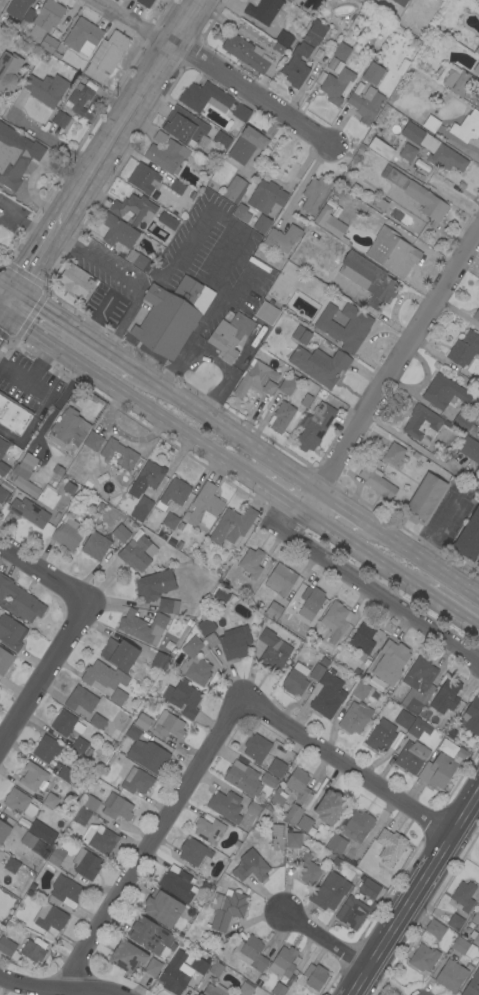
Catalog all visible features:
building: (475, 1)
building: (400, 2)
building: (145, 3)
building: (17, 8)
building: (264, 10)
building: (46, 18)
building: (25, 20)
road: (133, 23)
building: (82, 36)
building: (284, 38)
building: (48, 44)
building: (342, 51)
building: (477, 51)
building: (244, 53)
building: (303, 54)
building: (106, 56)
building: (476, 68)
building: (9, 71)
building: (373, 73)
building: (457, 81)
building: (336, 85)
building: (46, 88)
road: (256, 95)
building: (205, 97)
building: (78, 100)
building: (366, 104)
road: (133, 107)
building: (478, 108)
building: (241, 111)
building: (60, 119)
building: (431, 124)
building: (467, 127)
building: (186, 128)
building: (159, 137)
building: (222, 139)
road: (49, 140)
building: (247, 145)
building: (379, 148)
building: (434, 148)
building: (408, 152)
building: (167, 155)
building: (14, 161)
building: (144, 178)
building: (177, 187)
building: (233, 188)
building: (315, 194)
building: (269, 195)
building: (417, 195)
building: (379, 204)
building: (133, 210)
building: (244, 213)
building: (166, 220)
road: (226, 224)
building: (262, 224)
building: (331, 224)
building: (118, 231)
building: (281, 239)
building: (393, 252)
road: (40, 253)
road: (182, 254)
building: (139, 260)
road: (99, 262)
road: (225, 265)
building: (368, 278)
building: (75, 280)
road: (8, 287)
road: (11, 302)
road: (2, 309)
building: (267, 313)
road: (2, 315)
building: (172, 315)
building: (476, 315)
road: (96, 317)
road: (126, 317)
road: (201, 329)
road: (76, 332)
building: (341, 333)
building: (230, 335)
building: (301, 335)
building: (464, 349)
road: (215, 359)
building: (320, 365)
road: (391, 370)
building: (256, 379)
building: (286, 386)
road: (131, 393)
building: (444, 393)
building: (305, 400)
building: (13, 415)
building: (280, 417)
building: (465, 420)
building: (423, 423)
building: (314, 426)
building: (68, 428)
road: (226, 431)
building: (93, 441)
road: (406, 442)
building: (2, 447)
building: (469, 449)
building: (118, 455)
building: (395, 455)
building: (76, 468)
building: (58, 469)
building: (3, 470)
building: (151, 474)
building: (25, 475)
building: (376, 481)
building: (69, 487)
building: (2, 494)
building: (173, 494)
road: (280, 494)
building: (425, 497)
road: (341, 506)
building: (141, 508)
building: (204, 508)
building: (28, 510)
building: (170, 520)
road: (442, 521)
building: (232, 525)
building: (121, 533)
building: (67, 534)
building: (469, 538)
building: (95, 545)
road: (363, 550)
building: (137, 553)
road: (423, 557)
building: (252, 562)
building: (478, 563)
road: (43, 569)
building: (280, 579)
building: (236, 582)
building: (154, 585)
road: (366, 587)
building: (221, 594)
building: (20, 600)
building: (311, 601)
building: (168, 606)
building: (273, 610)
road: (450, 610)
building: (336, 620)
building: (205, 625)
building: (143, 627)
building: (11, 633)
building: (363, 638)
building: (231, 643)
building: (272, 651)
road: (471, 652)
building: (119, 653)
building: (5, 661)
building: (160, 661)
building: (194, 662)
building: (391, 662)
road: (468, 666)
road: (43, 668)
building: (316, 671)
building: (295, 679)
building: (109, 681)
building: (418, 685)
building: (360, 690)
building: (326, 695)
building: (181, 697)
building: (446, 697)
building: (80, 699)
building: (79, 712)
building: (472, 716)
building: (355, 717)
building: (404, 719)
building: (97, 721)
building: (142, 721)
building: (66, 723)
building: (169, 725)
building: (418, 728)
building: (381, 735)
building: (79, 746)
building: (46, 748)
building: (256, 748)
building: (146, 752)
building: (412, 756)
road: (346, 766)
building: (276, 767)
building: (441, 769)
building: (67, 775)
building: (242, 777)
building: (33, 778)
building: (268, 780)
building: (136, 781)
building: (298, 783)
building: (51, 801)
building: (278, 801)
building: (19, 803)
building: (90, 803)
building: (226, 805)
building: (117, 807)
building: (330, 807)
building: (253, 808)
building: (293, 814)
building: (81, 816)
building: (306, 824)
building: (209, 830)
building: (276, 830)
building: (3, 831)
building: (41, 831)
building: (351, 832)
building: (100, 838)
building: (28, 840)
building: (293, 840)
road: (151, 842)
road: (464, 844)
building: (390, 846)
building: (193, 851)
building: (56, 857)
building: (86, 864)
building: (16, 866)
building: (250, 867)
building: (308, 869)
building: (177, 884)
building: (368, 887)
building: (329, 891)
road: (413, 891)
building: (65, 893)
building: (462, 897)
building: (162, 908)
building: (226, 908)
building: (354, 912)
building: (49, 918)
building: (476, 918)
building: (455, 922)
building: (432, 932)
building: (147, 934)
building: (474, 937)
road: (324, 940)
building: (462, 947)
building: (8, 948)
building: (33, 950)
building: (250, 955)
building: (127, 957)
building: (423, 958)
building: (295, 960)
building: (283, 963)
building: (199, 966)
building: (152, 967)
building: (215, 968)
building: (175, 973)
building: (451, 975)
building: (315, 976)
road: (386, 981)
building: (472, 984)
building: (245, 988)
building: (278, 989)
road: (56, 990)
building: (214, 990)

